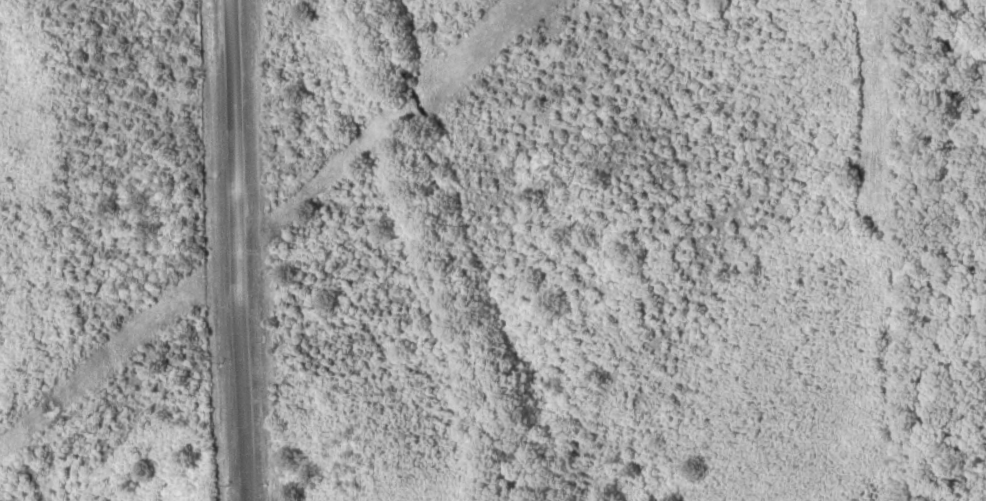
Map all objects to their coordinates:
road: (233, 250)

